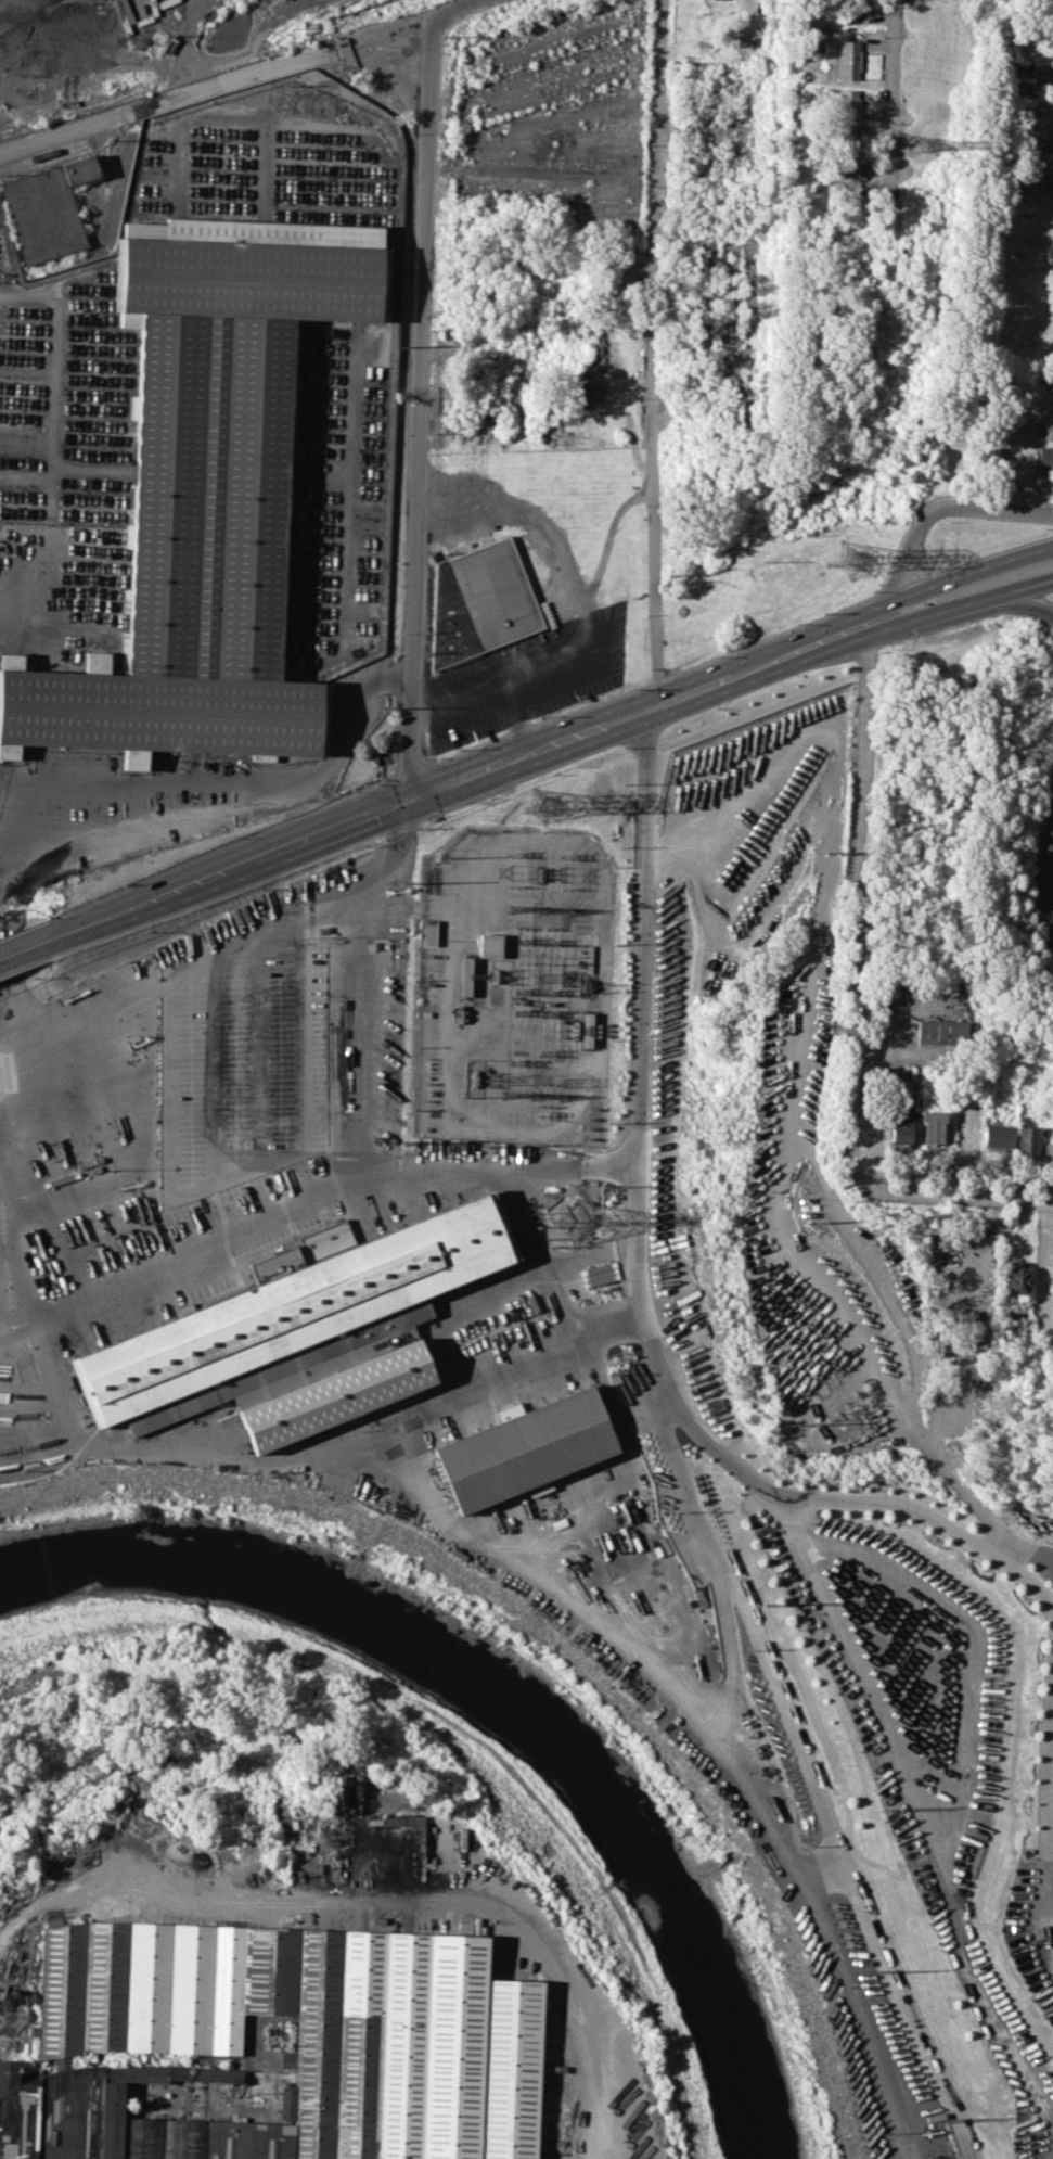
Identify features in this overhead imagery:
road: (451, 11)
building: (846, 60)
road: (206, 85)
road: (893, 85)
building: (1026, 87)
building: (847, 104)
building: (851, 135)
power tower: (926, 144)
building: (1051, 155)
building: (844, 171)
building: (1049, 188)
building: (1050, 256)
power tower: (399, 346)
road: (654, 353)
building: (1052, 381)
road: (418, 408)
building: (1050, 431)
building: (1042, 456)
building: (206, 493)
road: (948, 506)
power tower: (848, 561)
road: (561, 571)
road: (954, 575)
road: (1031, 584)
road: (1031, 600)
building: (476, 602)
road: (938, 609)
road: (512, 668)
power tower: (385, 708)
road: (516, 713)
road: (455, 779)
traffic signals: (410, 796)
road: (224, 802)
power tower: (539, 804)
power tower: (510, 849)
power tower: (823, 849)
power tower: (561, 851)
road: (1051, 876)
power tower: (401, 883)
road: (359, 891)
road: (859, 891)
building: (428, 932)
road: (642, 937)
building: (489, 945)
road: (23, 948)
building: (464, 975)
power substation: (513, 988)
road: (356, 1029)
building: (942, 1030)
road: (314, 1038)
road: (259, 1083)
road: (213, 1091)
road: (166, 1104)
power tower: (543, 1110)
building: (900, 1125)
building: (933, 1125)
building: (971, 1126)
building: (999, 1136)
building: (1028, 1140)
power tower: (404, 1145)
power tower: (487, 1147)
road: (481, 1172)
road: (945, 1190)
power tower: (809, 1218)
power tower: (575, 1221)
road: (22, 1235)
road: (780, 1254)
building: (1043, 1273)
building: (1016, 1276)
building: (300, 1328)
building: (1017, 1330)
power tower: (833, 1413)
power tower: (797, 1423)
building: (526, 1447)
road: (756, 1481)
road: (1020, 1551)
power tower: (766, 1602)
river: (506, 1699)
road: (1049, 1749)
power tower: (883, 1805)
road: (378, 1900)
power tower: (1031, 1941)
power tower: (870, 1970)
building: (413, 2031)
power tower: (945, 2117)

